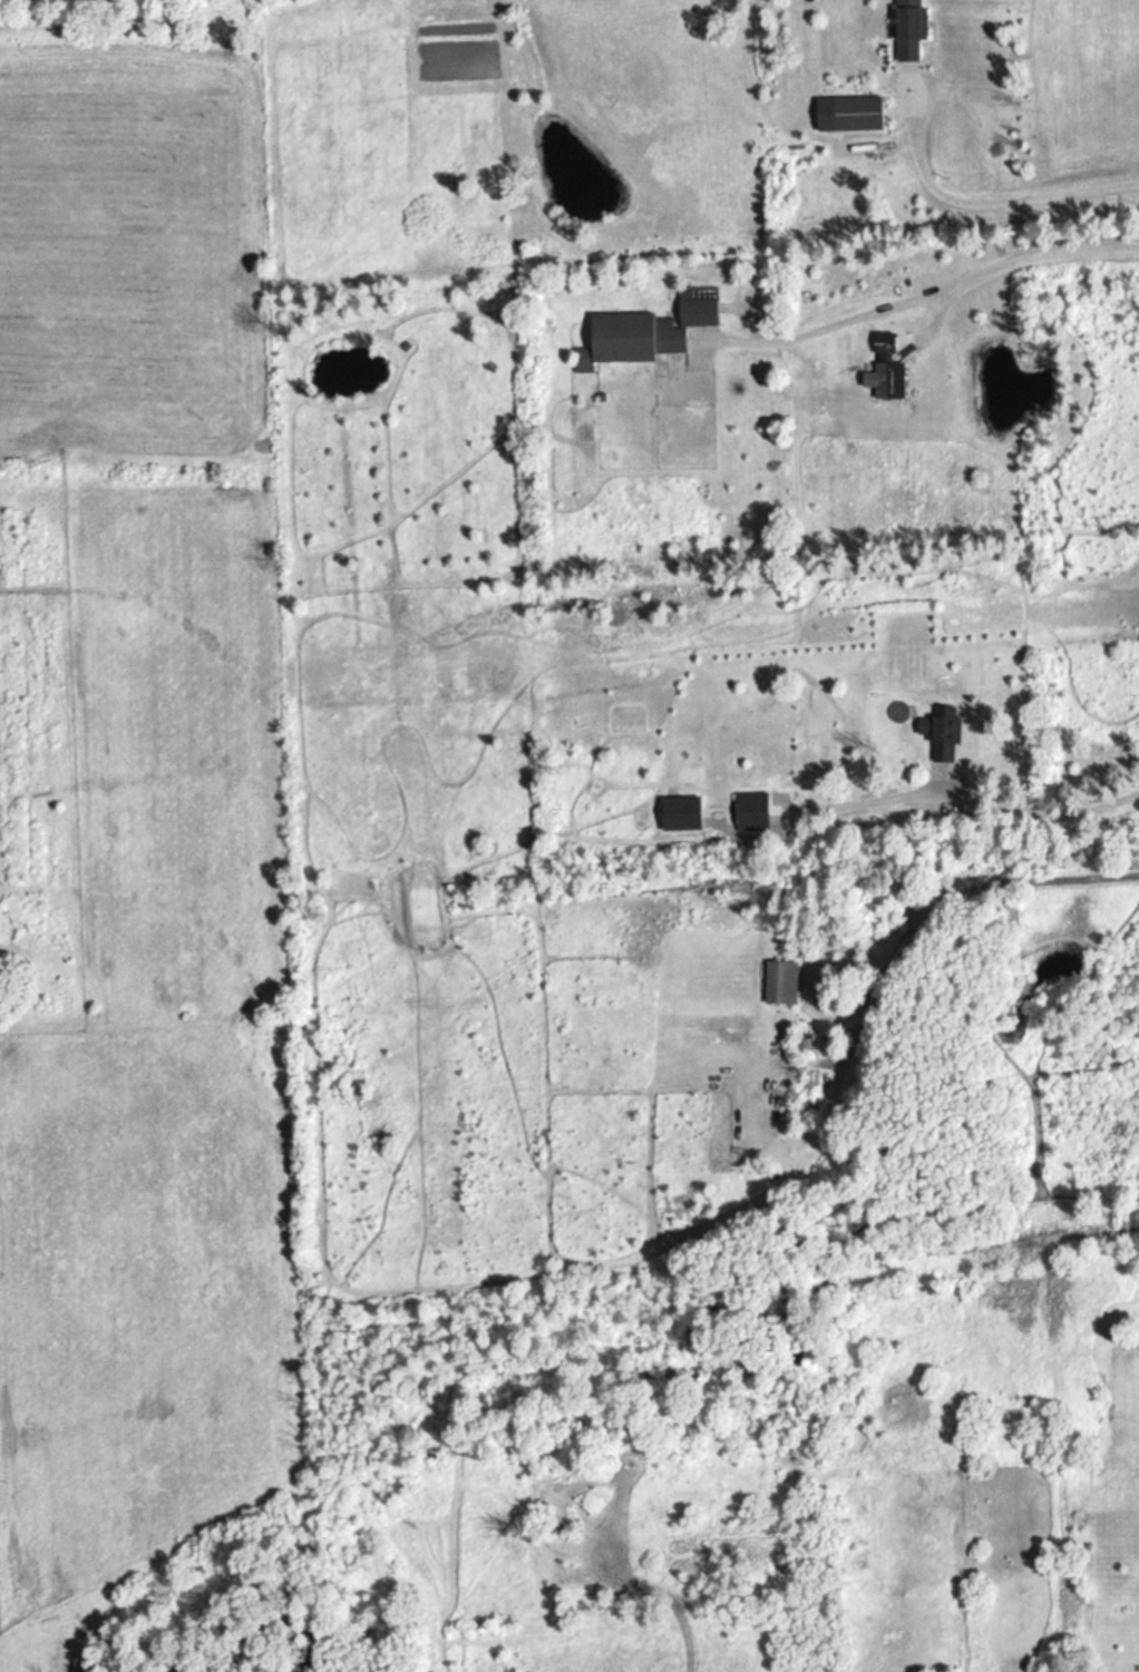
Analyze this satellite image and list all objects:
building: (913, 31)
building: (853, 116)
road: (993, 199)
road: (931, 292)
building: (888, 372)
building: (948, 736)
building: (753, 813)
road: (1041, 814)
building: (684, 817)
road: (951, 899)
building: (785, 985)

